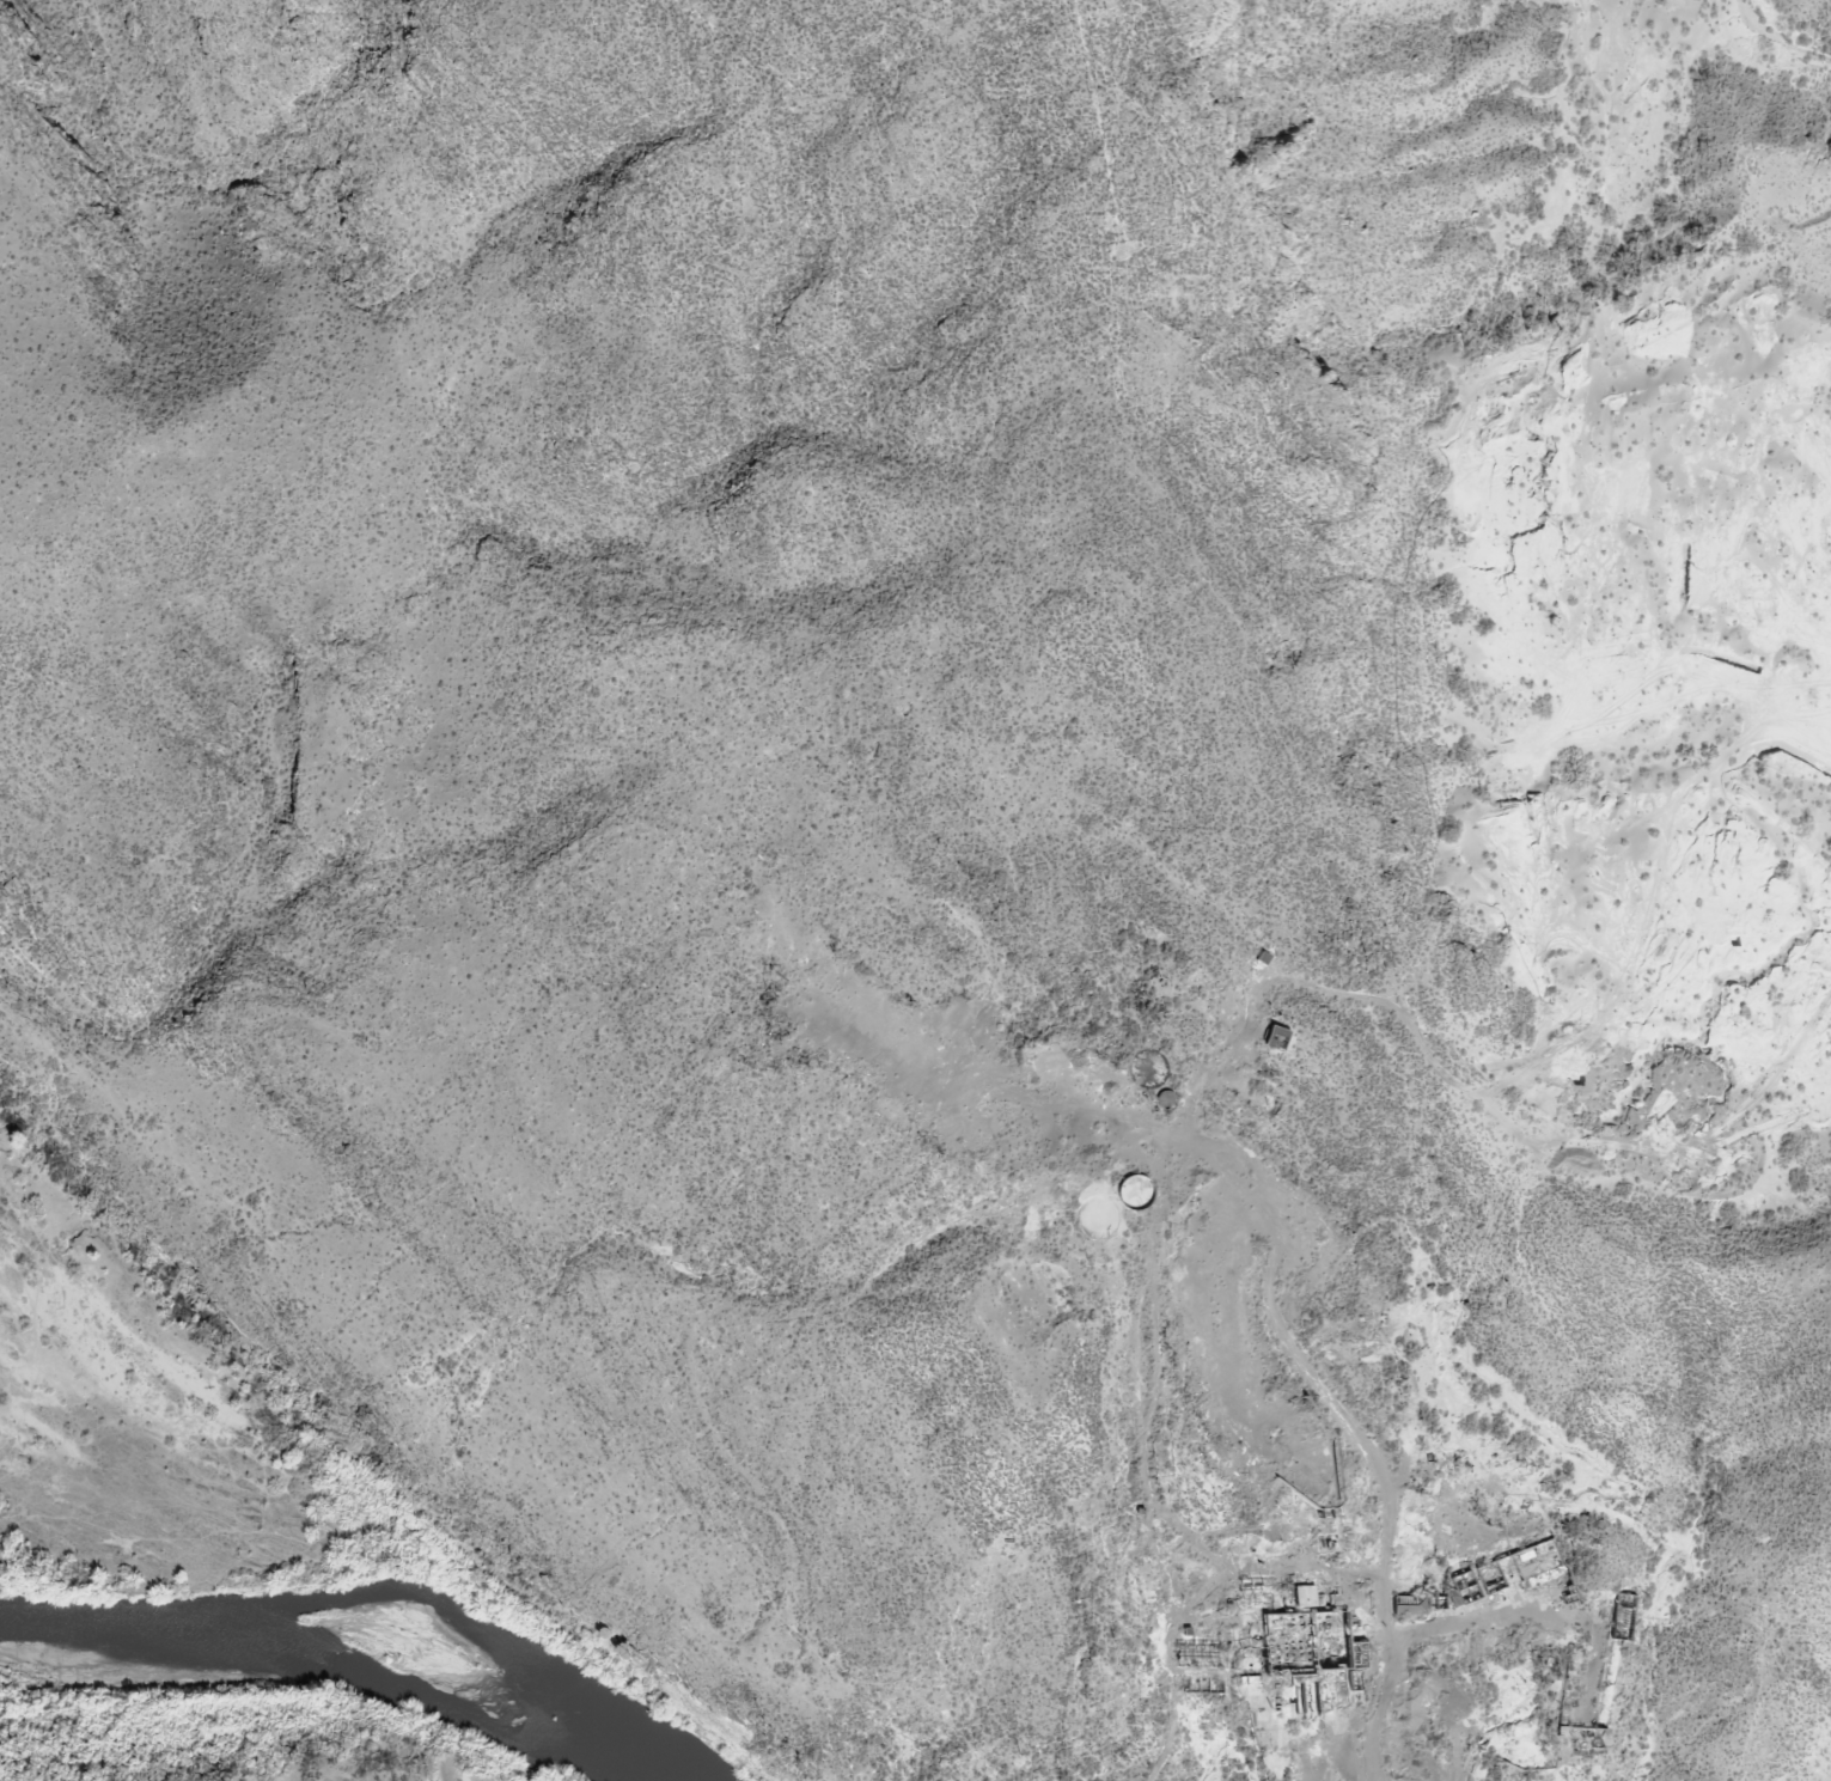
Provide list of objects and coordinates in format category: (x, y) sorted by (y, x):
building: (1287, 1031)
road: (1363, 1434)
road: (1493, 1626)
building: (1228, 1639)
river: (343, 1676)
road: (1304, 1749)

